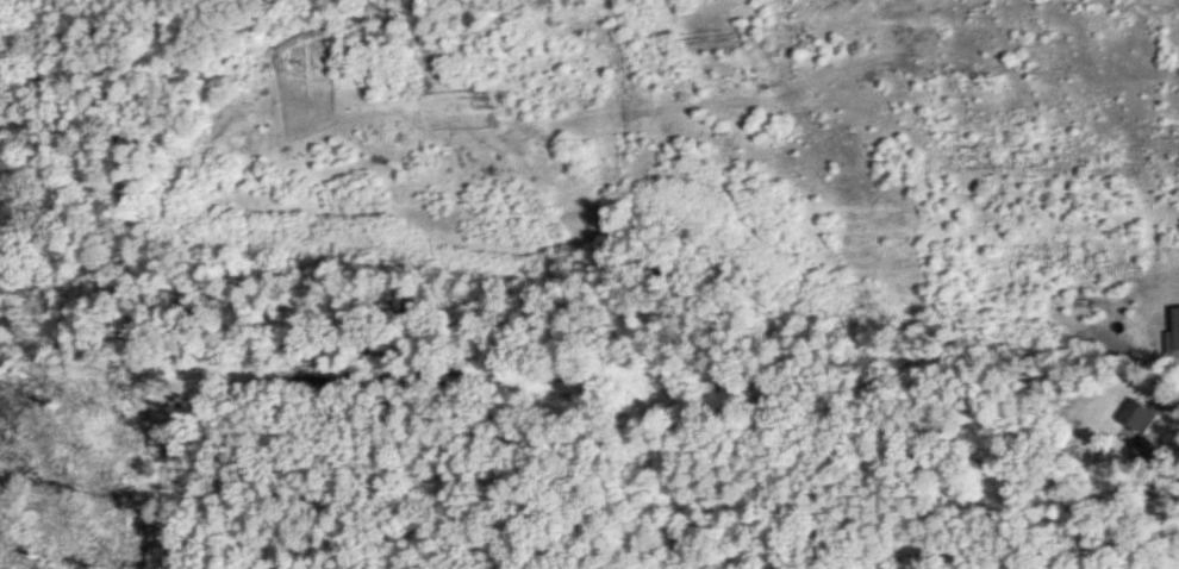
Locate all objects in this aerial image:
building: (1148, 413)

